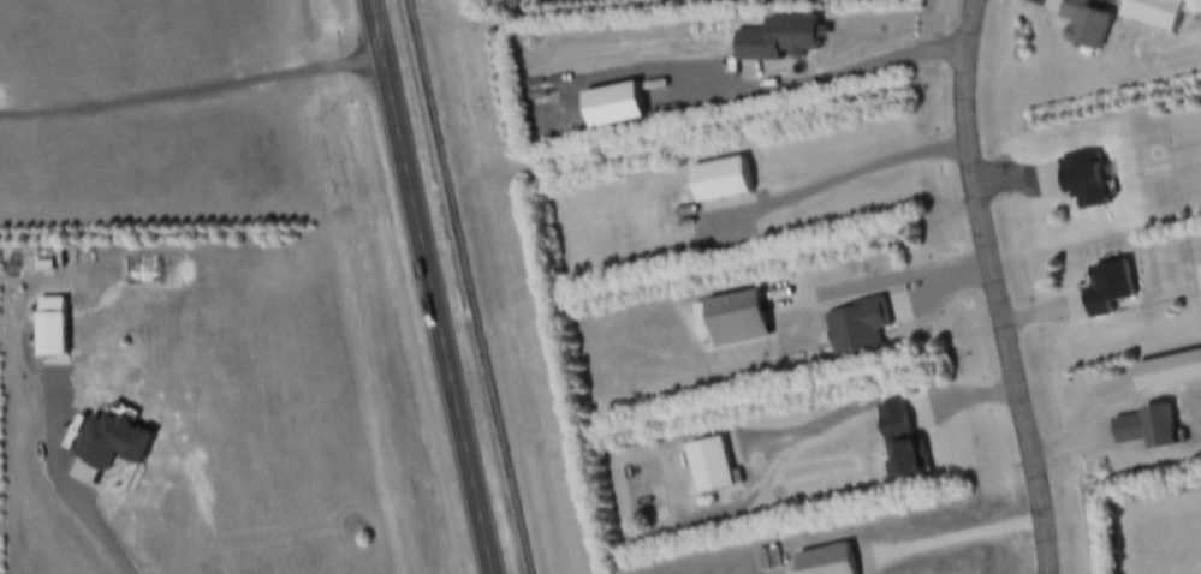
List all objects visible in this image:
building: (1154, 14)
building: (1084, 25)
building: (779, 42)
road: (824, 72)
road: (192, 96)
building: (613, 107)
road: (869, 174)
building: (720, 183)
building: (1084, 183)
road: (888, 285)
road: (432, 286)
road: (466, 287)
road: (999, 287)
building: (1108, 292)
building: (737, 322)
building: (856, 330)
building: (1165, 372)
road: (893, 401)
building: (1140, 429)
building: (112, 444)
building: (891, 444)
building: (709, 470)
road: (958, 540)
building: (821, 561)

